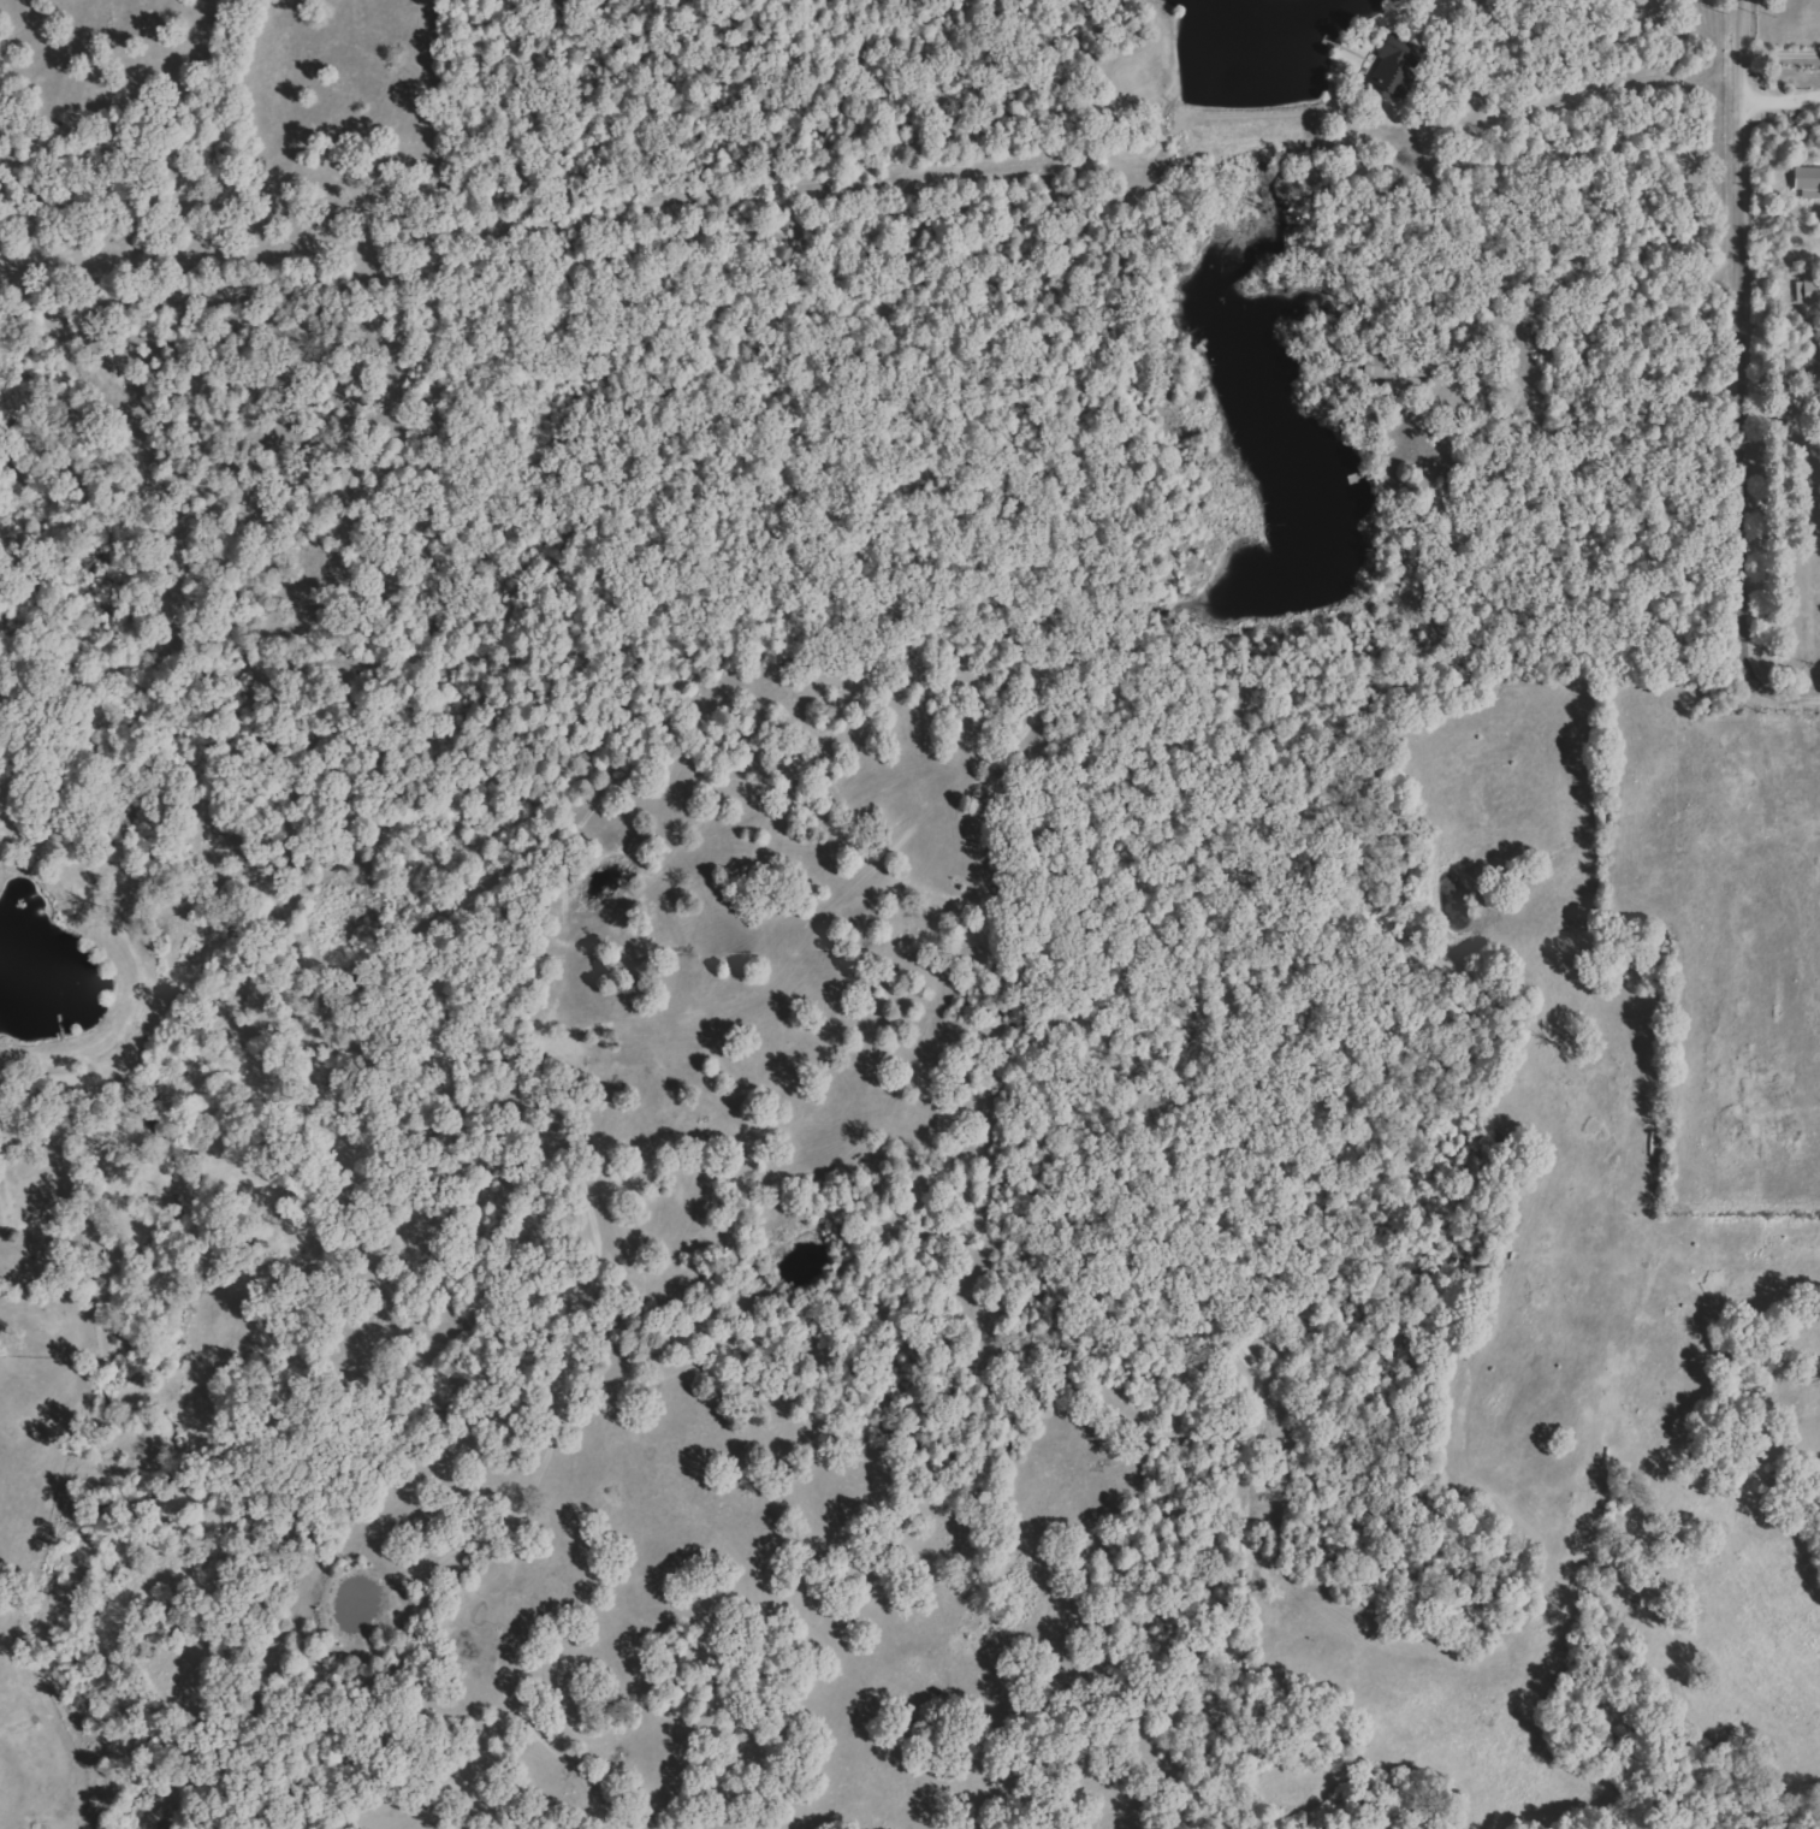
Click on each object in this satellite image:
road: (1474, 26)
building: (1385, 69)
road: (1780, 101)
building: (1387, 367)
road: (1741, 377)
road: (1771, 764)

